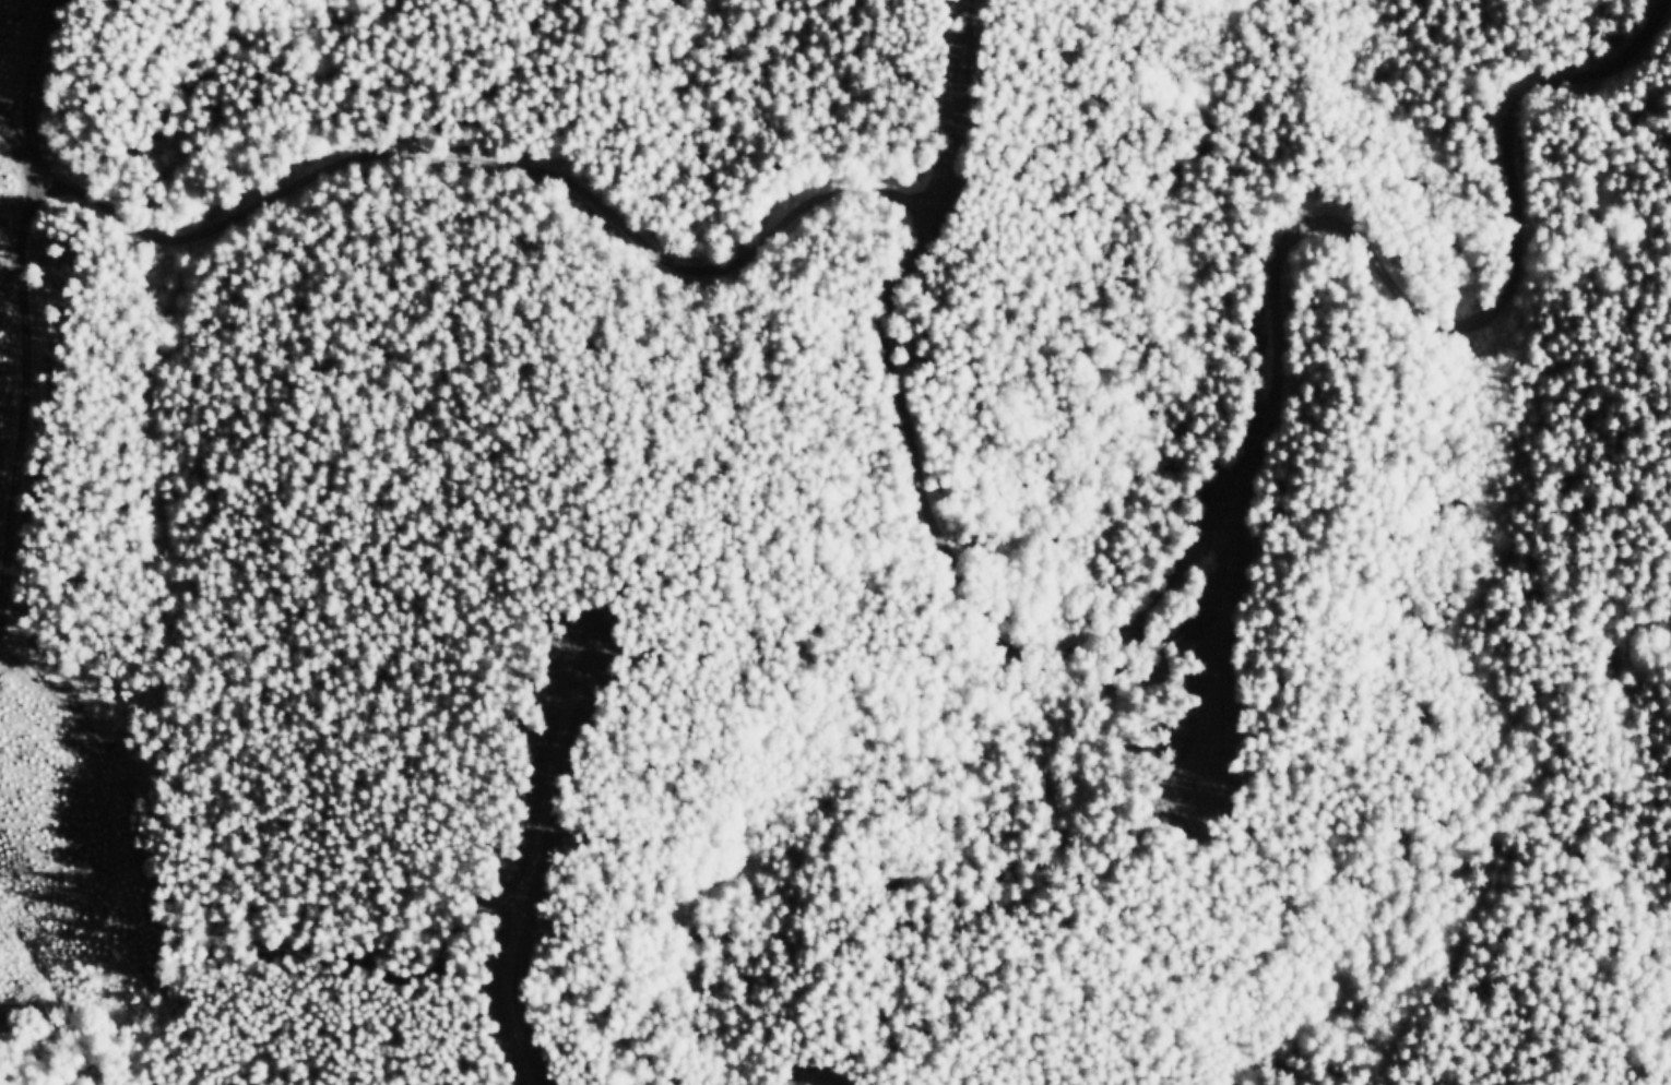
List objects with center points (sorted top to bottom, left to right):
road: (1156, 572)

